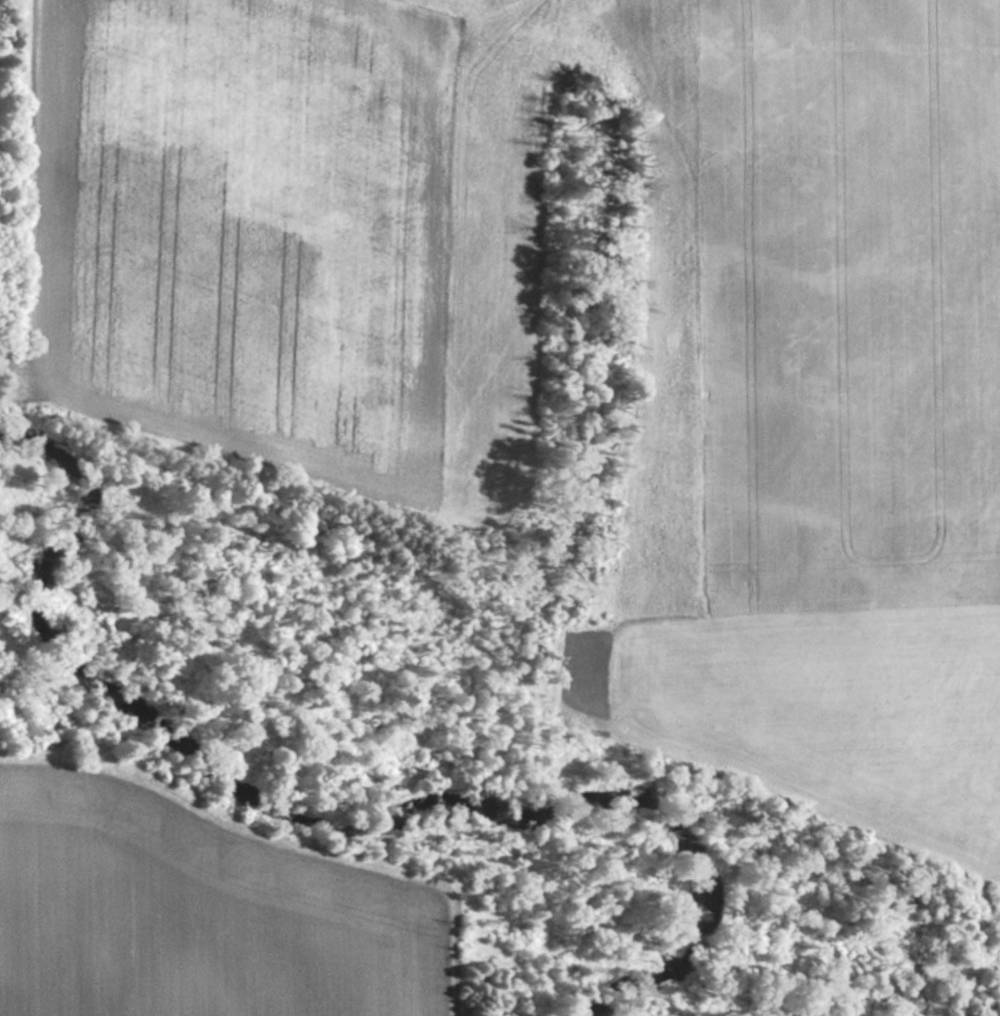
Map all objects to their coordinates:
river: (520, 823)

